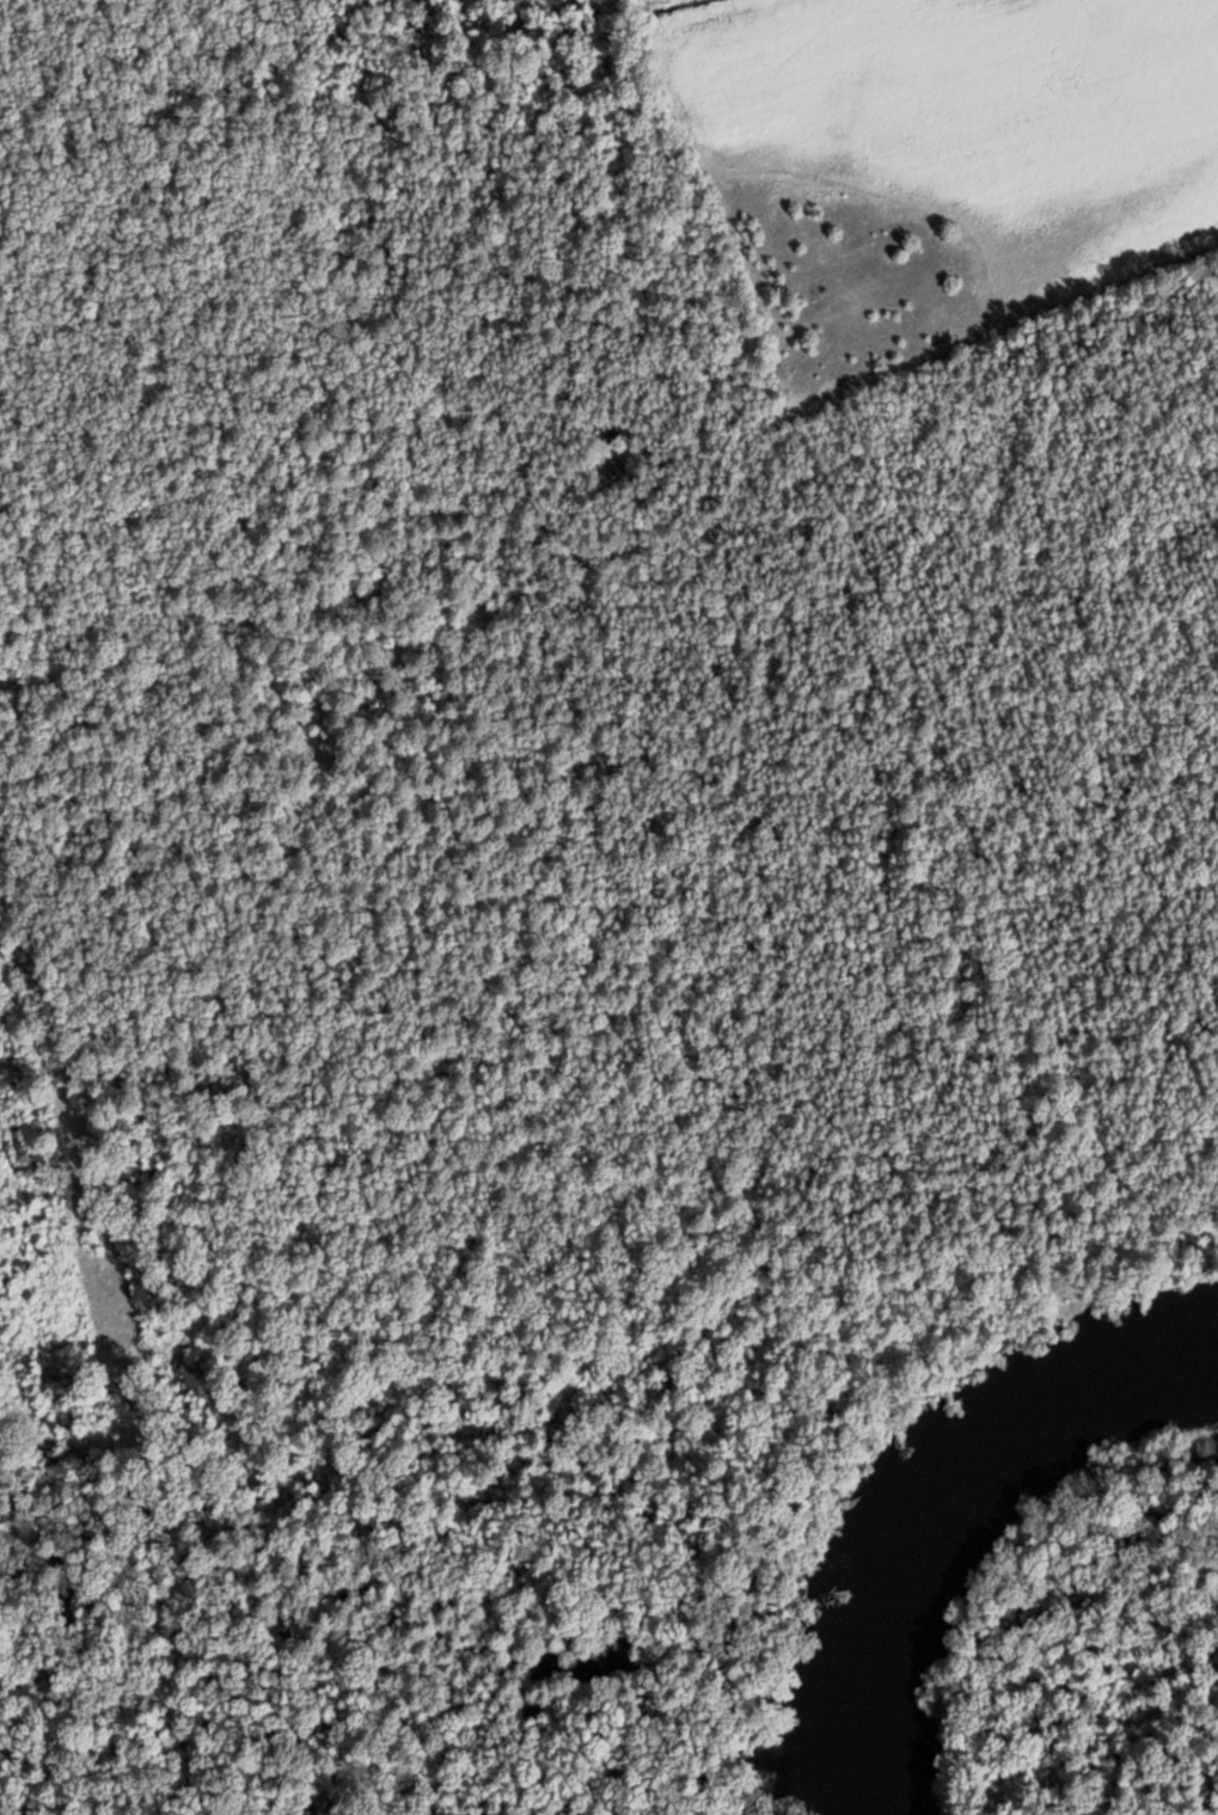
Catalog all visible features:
river: (932, 1521)

